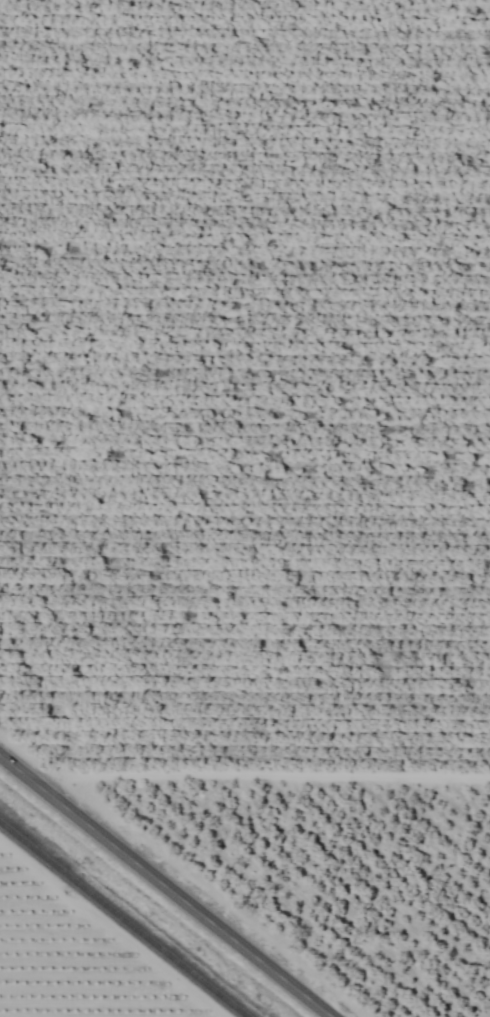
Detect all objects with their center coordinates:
crop: (245, 508)
road: (254, 777)
road: (164, 887)
railway: (122, 920)

